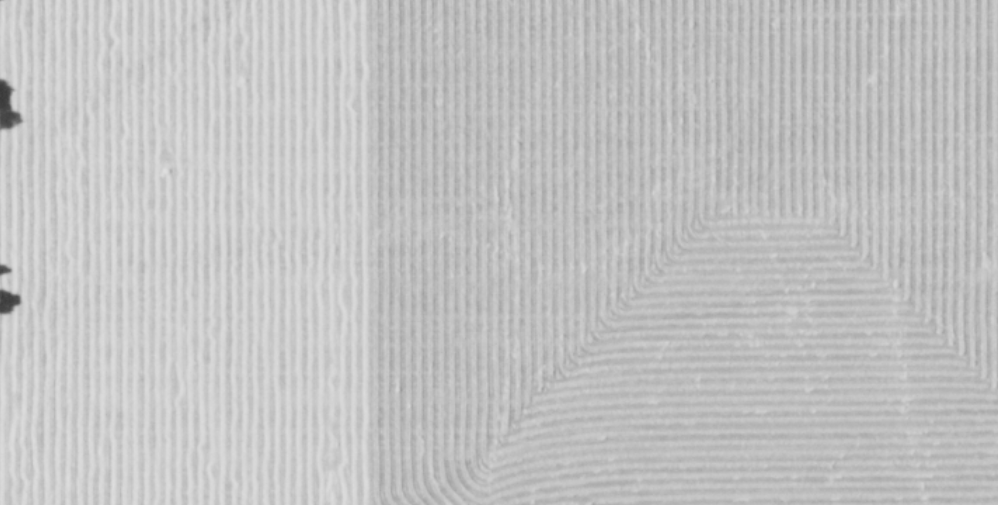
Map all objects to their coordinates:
crop: (508, 252)

